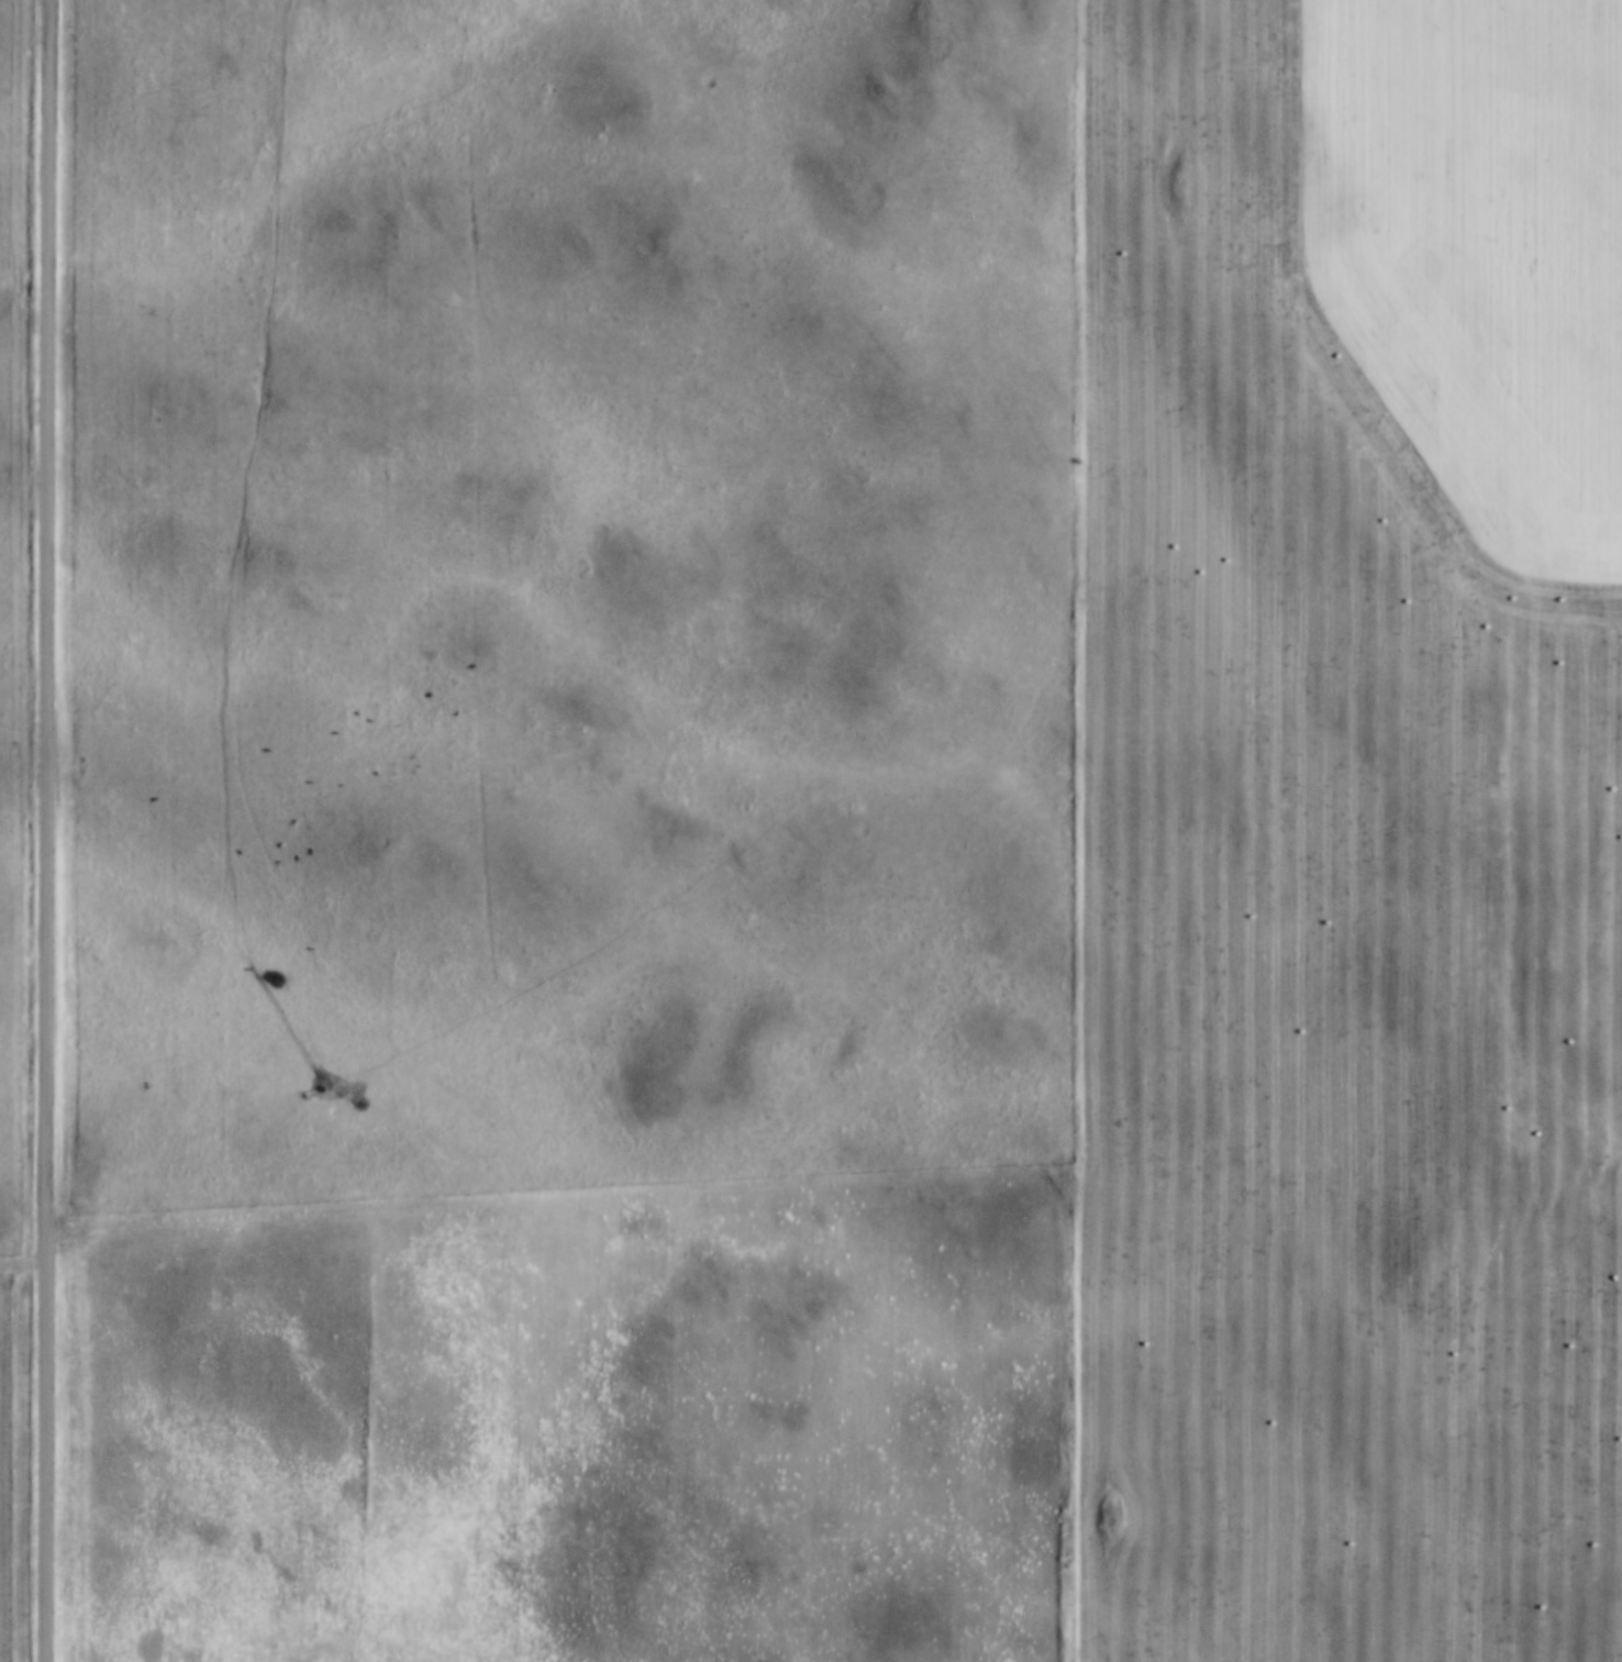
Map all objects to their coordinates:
road: (49, 830)

